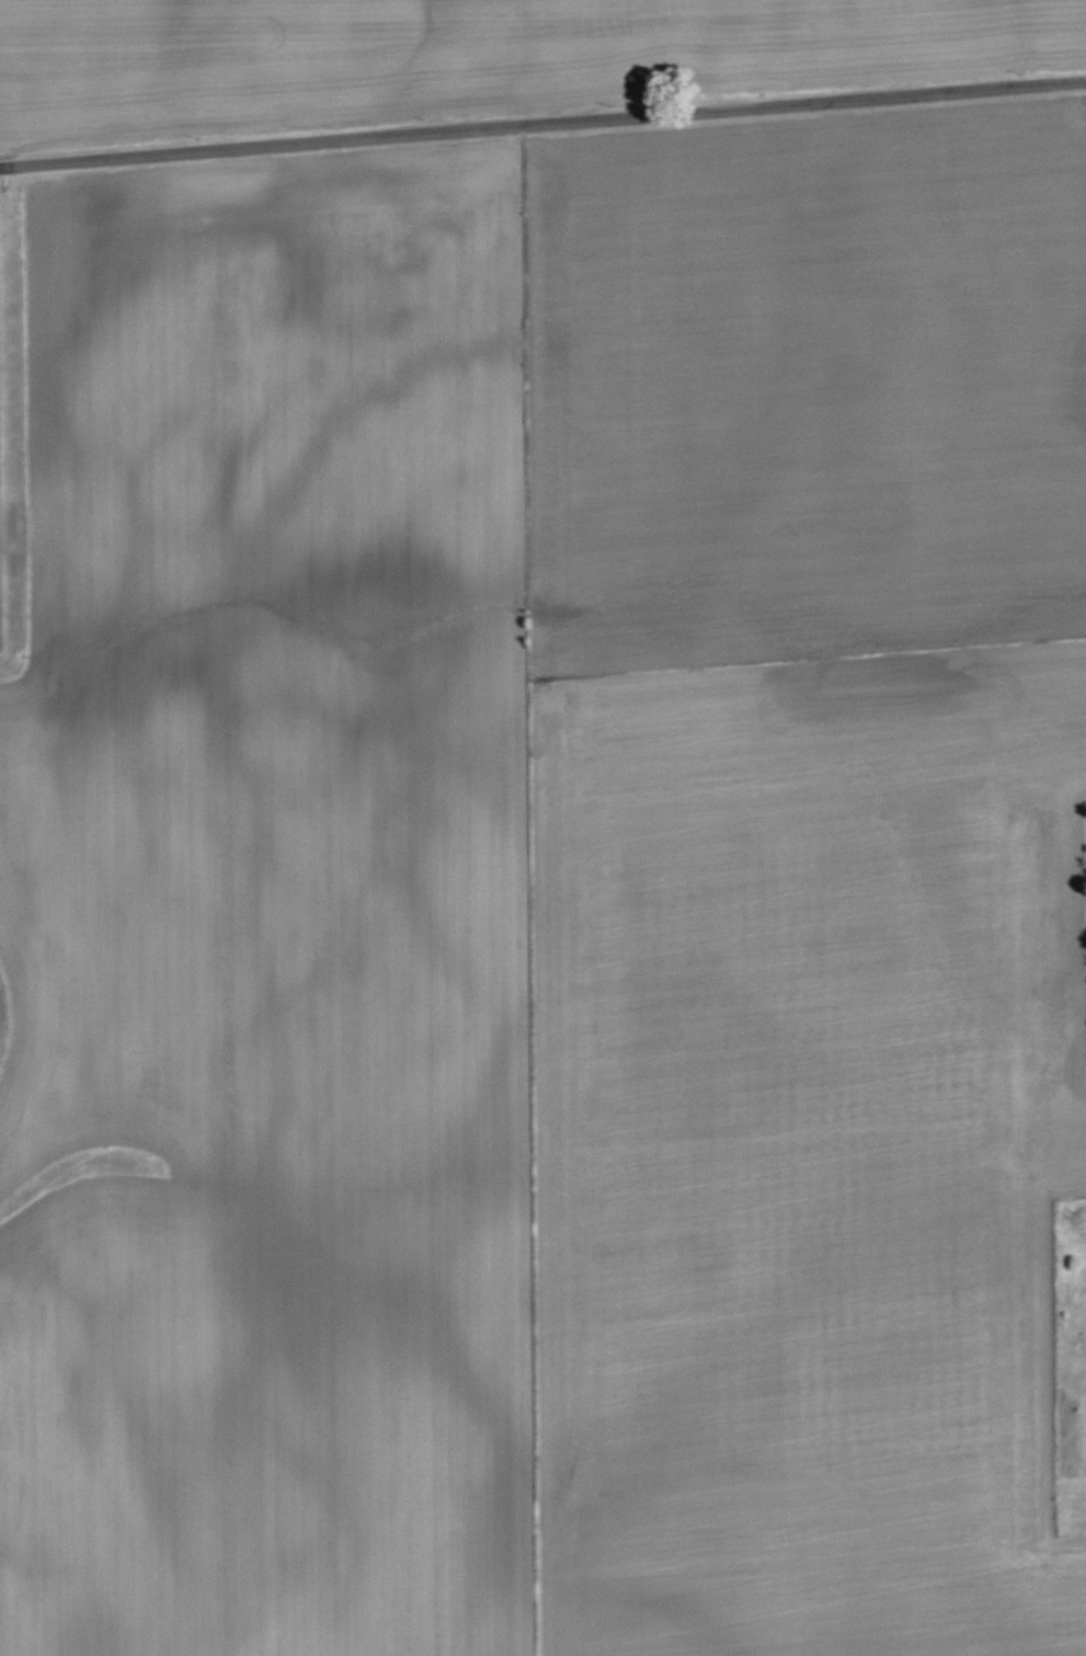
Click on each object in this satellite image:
road: (542, 124)

